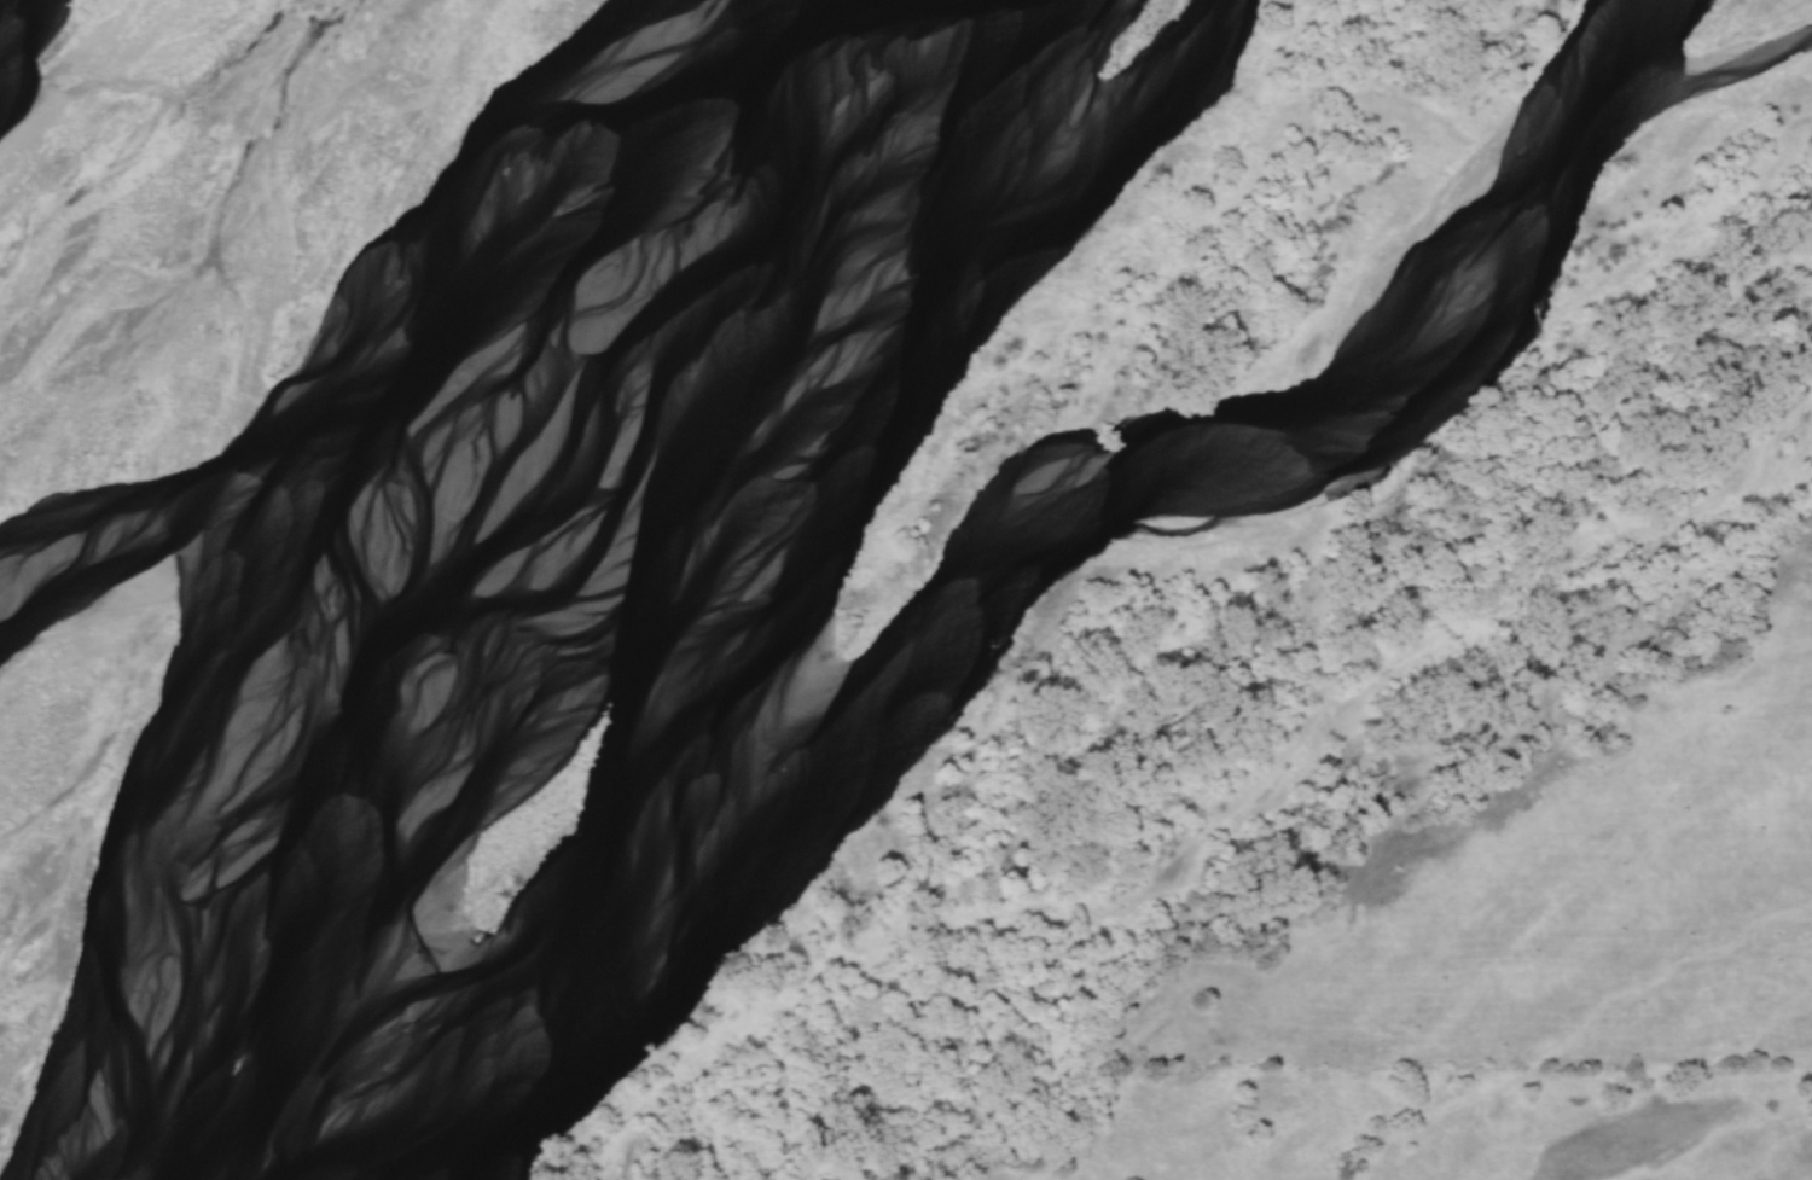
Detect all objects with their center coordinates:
river: (756, 615)

